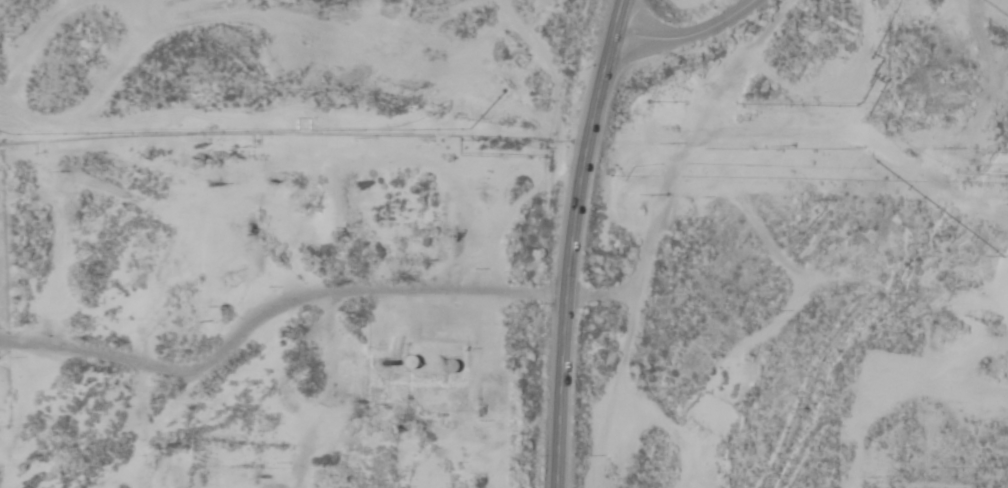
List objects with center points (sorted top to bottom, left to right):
road: (690, 35)
road: (295, 135)
road: (575, 240)
building: (428, 364)

